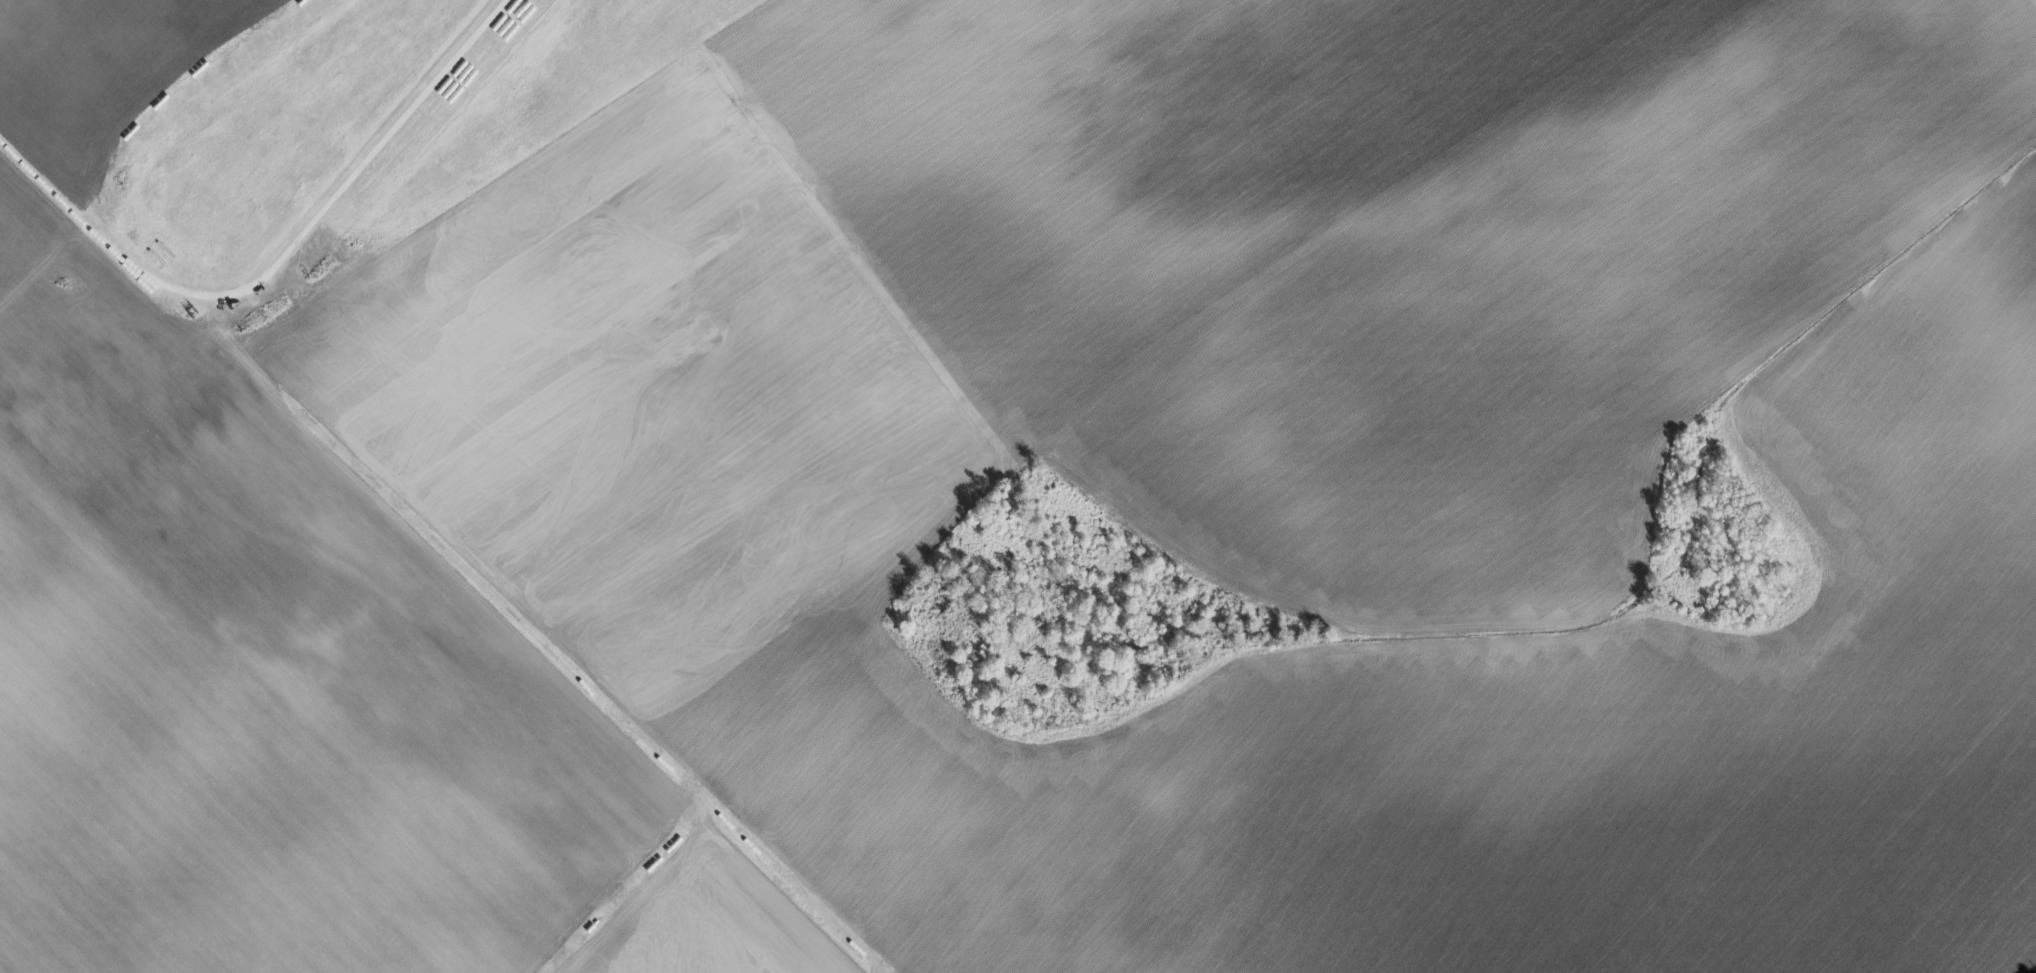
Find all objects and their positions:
road: (420, 522)
road: (440, 643)

